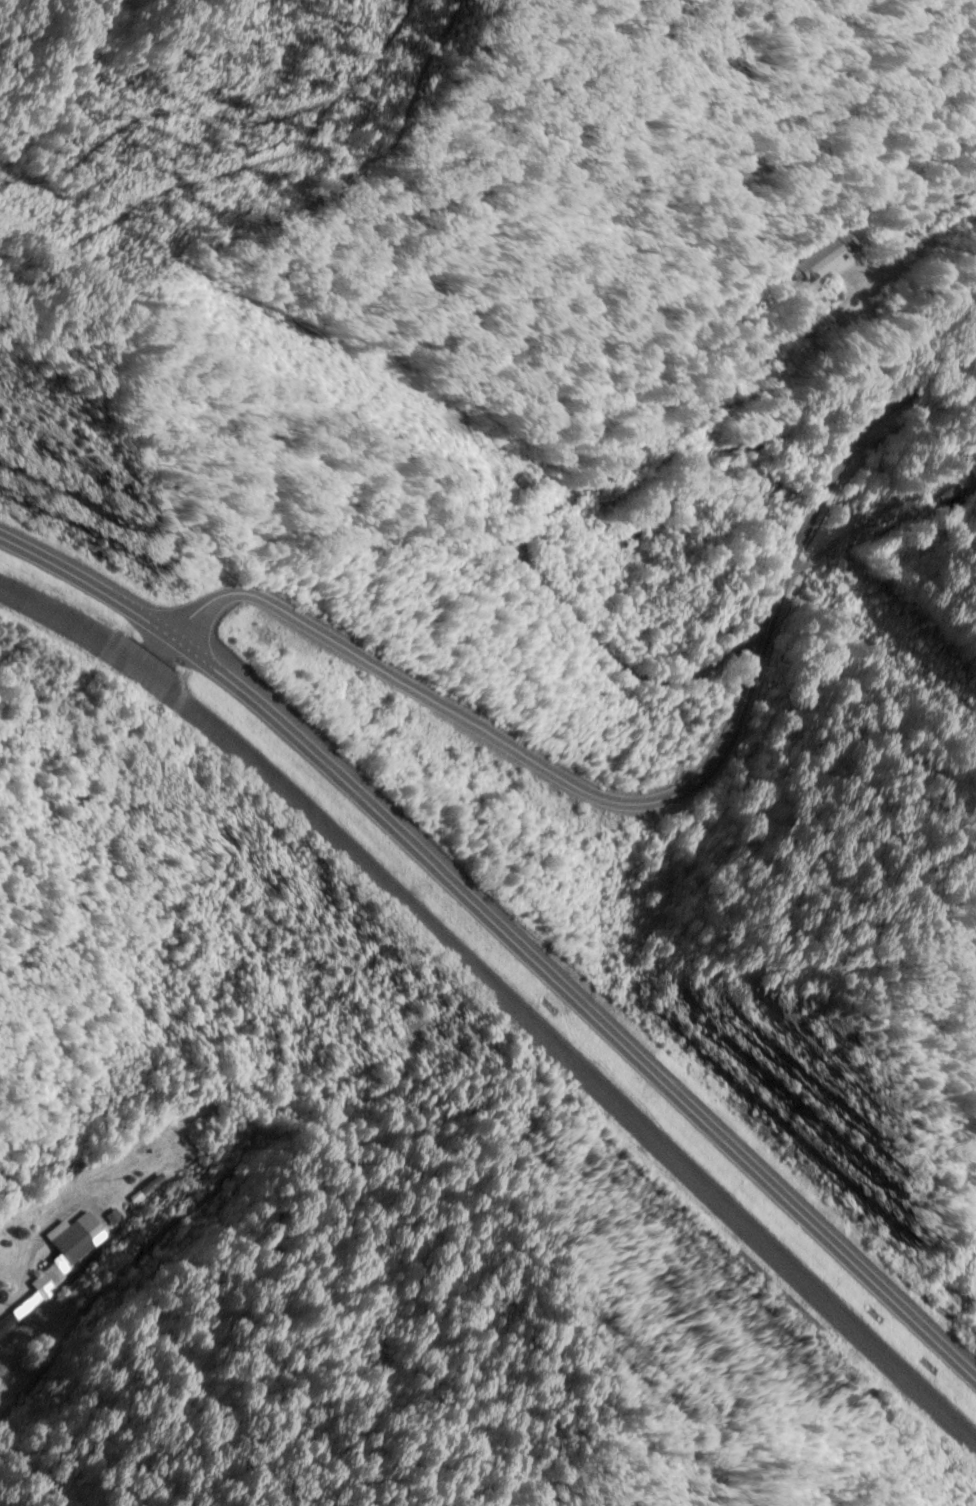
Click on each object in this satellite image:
road: (89, 587)
road: (676, 784)
road: (588, 998)

